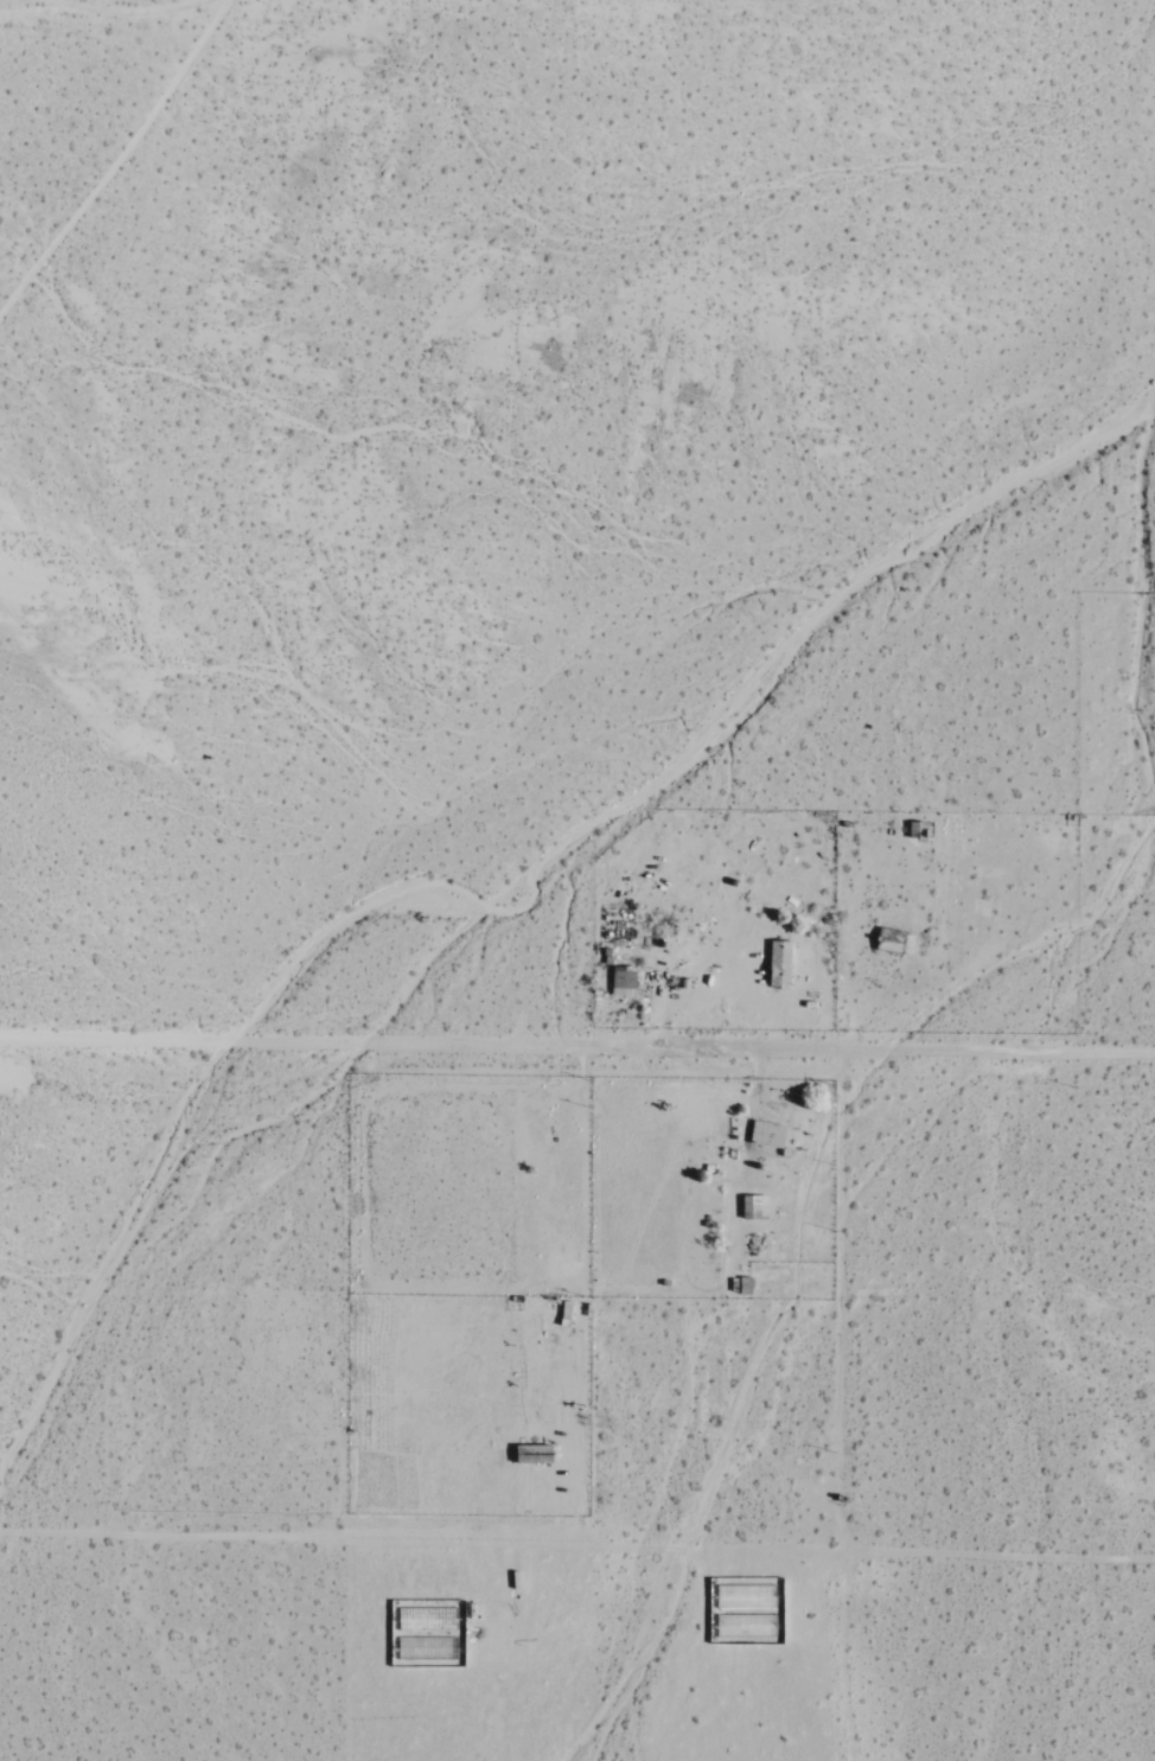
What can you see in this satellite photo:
road: (133, 0)
building: (777, 959)
road: (577, 1031)
road: (849, 1412)
road: (577, 1538)

